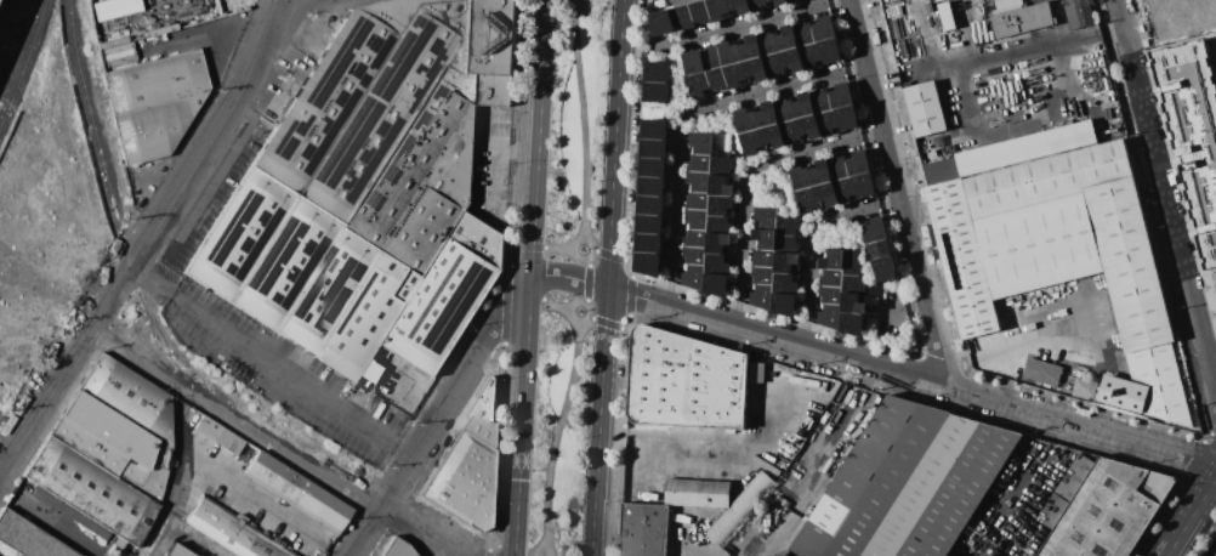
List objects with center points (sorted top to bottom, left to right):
road: (280, 0)
building: (768, 0)
building: (939, 0)
building: (792, 1)
building: (682, 2)
building: (782, 2)
building: (758, 5)
building: (1007, 5)
building: (740, 6)
building: (114, 7)
building: (717, 8)
building: (700, 12)
building: (1078, 13)
building: (947, 16)
building: (682, 17)
building: (1023, 19)
crop: (1178, 19)
building: (664, 22)
road: (740, 29)
building: (824, 29)
building: (805, 34)
road: (205, 39)
building: (788, 39)
railway: (18, 44)
building: (767, 44)
building: (751, 49)
building: (831, 51)
building: (729, 53)
building: (811, 55)
building: (711, 57)
railway: (23, 59)
building: (792, 59)
building: (694, 61)
building: (773, 64)
building: (756, 68)
building: (659, 72)
building: (734, 74)
building: (717, 79)
building: (154, 80)
building: (698, 84)
building: (659, 92)
building: (841, 96)
building: (822, 101)
building: (805, 106)
building: (925, 108)
building: (785, 110)
building: (768, 115)
railway: (90, 117)
road: (689, 118)
building: (848, 118)
road: (584, 119)
building: (396, 120)
building: (746, 120)
building: (828, 123)
building: (809, 126)
building: (153, 127)
building: (657, 129)
building: (790, 131)
building: (1193, 131)
park: (578, 132)
building: (773, 135)
building: (751, 141)
building: (701, 142)
building: (655, 148)
building: (1025, 149)
road: (518, 151)
building: (701, 163)
building: (858, 163)
building: (723, 165)
building: (654, 168)
building: (839, 168)
building: (941, 171)
building: (822, 174)
building: (801, 177)
building: (1047, 178)
road: (220, 180)
road: (752, 180)
building: (700, 181)
road: (493, 183)
building: (865, 185)
building: (654, 186)
building: (721, 186)
building: (845, 189)
building: (826, 193)
road: (904, 193)
road: (516, 194)
building: (807, 199)
building: (699, 200)
road: (1165, 200)
building: (653, 205)
building: (721, 205)
building: (698, 219)
building: (767, 219)
building: (652, 223)
building: (720, 225)
building: (789, 225)
building: (875, 229)
building: (766, 238)
building: (697, 239)
road: (146, 240)
road: (818, 242)
building: (650, 243)
building: (717, 243)
building: (788, 244)
road: (556, 249)
building: (877, 250)
road: (604, 255)
building: (695, 255)
building: (765, 259)
building: (834, 259)
building: (962, 259)
road: (624, 260)
road: (583, 261)
building: (785, 262)
building: (853, 262)
building: (649, 263)
building: (717, 263)
building: (1129, 263)
building: (885, 268)
railway: (132, 270)
building: (303, 274)
building: (763, 276)
building: (695, 277)
road: (536, 278)
road: (615, 278)
road: (632, 278)
building: (833, 278)
road: (587, 283)
building: (717, 284)
building: (785, 284)
building: (854, 284)
road: (1201, 284)
crop: (1215, 285)
building: (449, 295)
building: (831, 295)
building: (763, 296)
building: (785, 303)
building: (853, 303)
road: (552, 307)
road: (914, 311)
road: (587, 314)
building: (831, 316)
building: (853, 323)
road: (607, 324)
road: (1018, 340)
road: (876, 364)
road: (272, 365)
building: (374, 371)
building: (1041, 371)
railway: (200, 374)
building: (684, 381)
building: (1085, 388)
building: (1123, 393)
building: (127, 397)
road: (445, 415)
building: (482, 416)
park: (561, 425)
railway: (181, 431)
road: (556, 436)
road: (283, 438)
road: (733, 439)
building: (228, 441)
building: (113, 444)
road: (817, 473)
building: (461, 482)
building: (909, 484)
railway: (393, 489)
building: (90, 490)
railway: (368, 492)
building: (1066, 492)
building: (296, 493)
building: (697, 493)
road: (1008, 501)
road: (261, 505)
building: (740, 507)
building: (1109, 511)
road: (1191, 516)
building: (644, 529)
building: (234, 531)
building: (28, 538)
building: (394, 549)
road: (449, 550)
building: (176, 551)
road: (541, 551)

